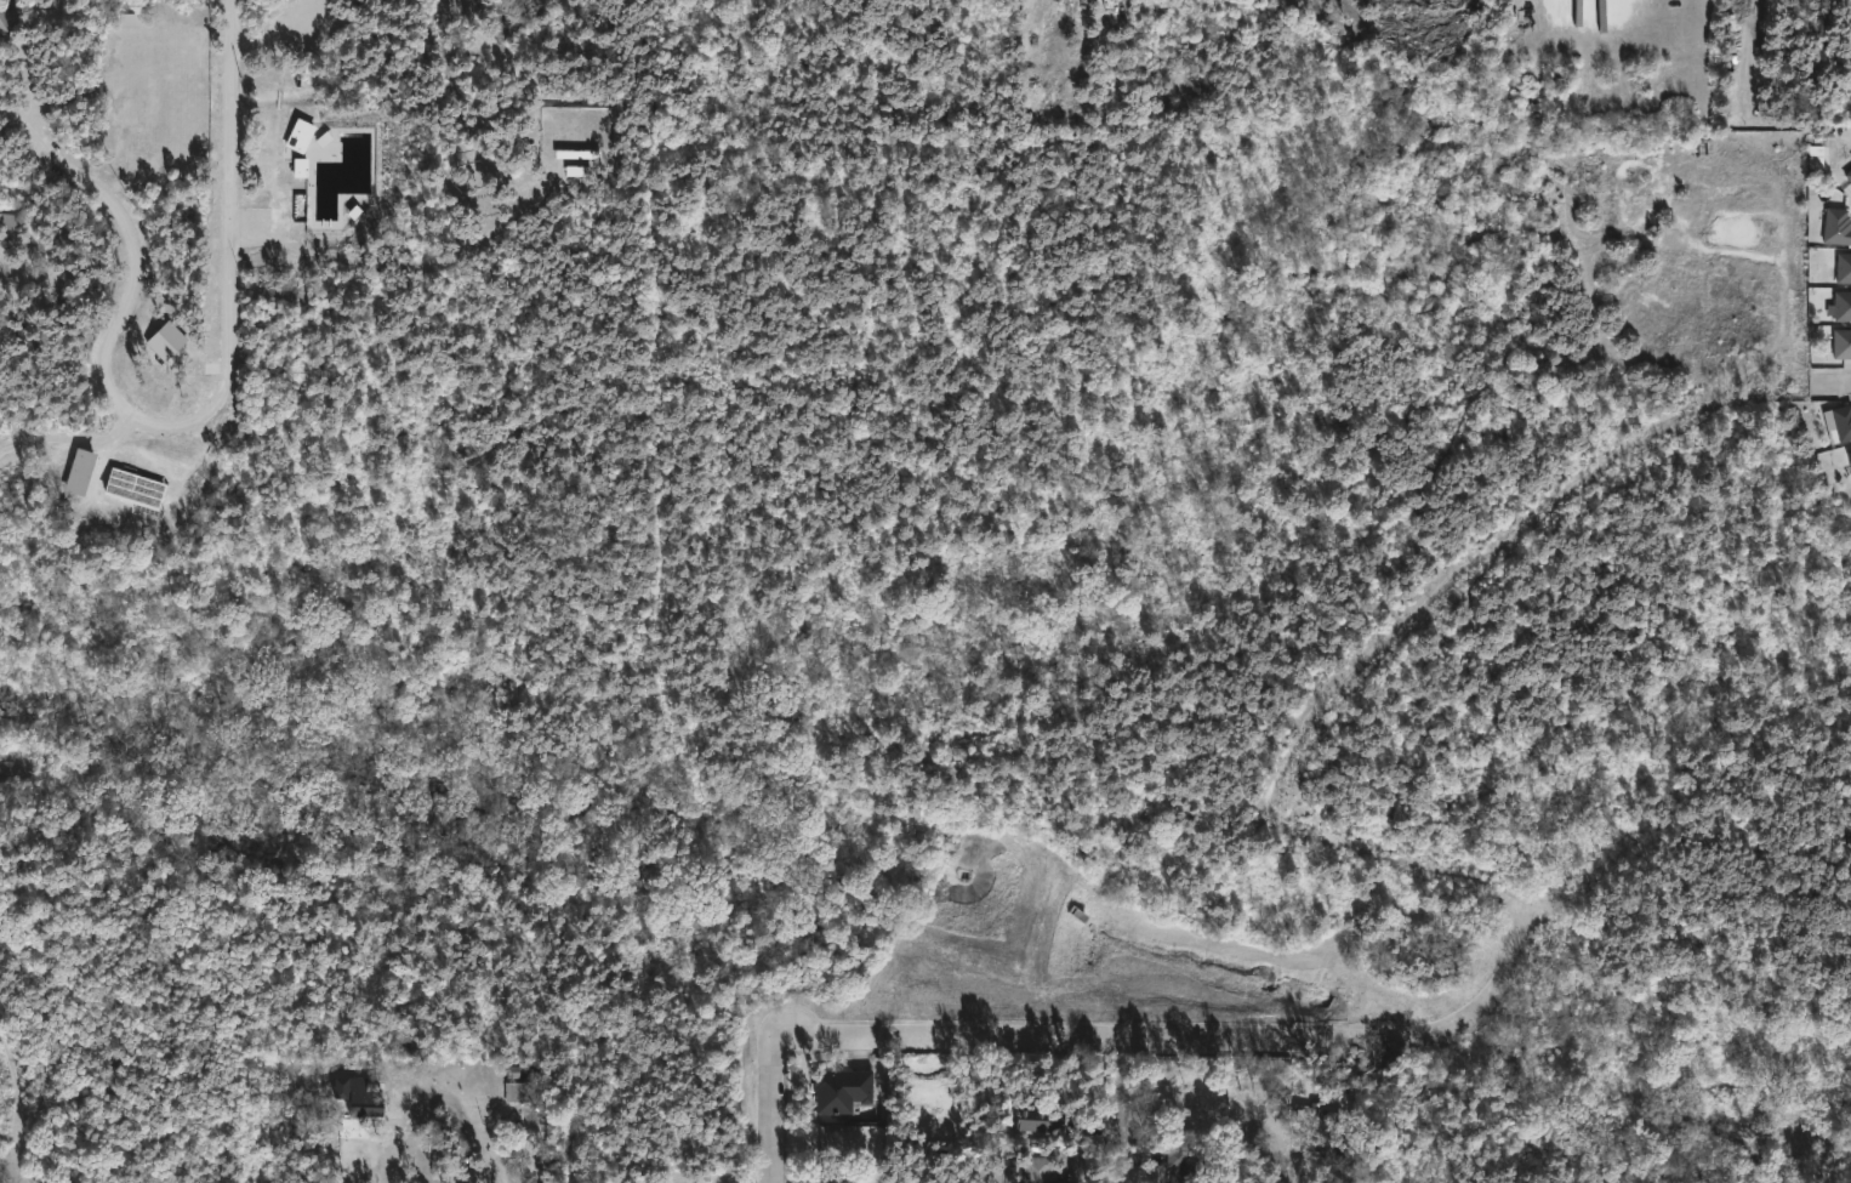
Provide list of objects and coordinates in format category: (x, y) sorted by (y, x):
building: (7, 22)
road: (1049, 46)
building: (301, 136)
building: (1816, 164)
building: (1850, 174)
building: (1839, 226)
building: (1845, 267)
building: (1844, 305)
building: (167, 342)
building: (1844, 343)
road: (197, 420)
building: (1844, 421)
road: (76, 440)
road: (5, 442)
road: (5, 445)
building: (1850, 451)
building: (80, 468)
building: (135, 479)
road: (1531, 904)
road: (1124, 1037)
road: (1212, 1080)
building: (844, 1088)
building: (522, 1090)
building: (368, 1104)
building: (1042, 1117)
building: (1316, 1124)
road: (1127, 1141)
road: (478, 1145)
building: (1184, 1166)
building: (1040, 1168)
building: (837, 1178)

